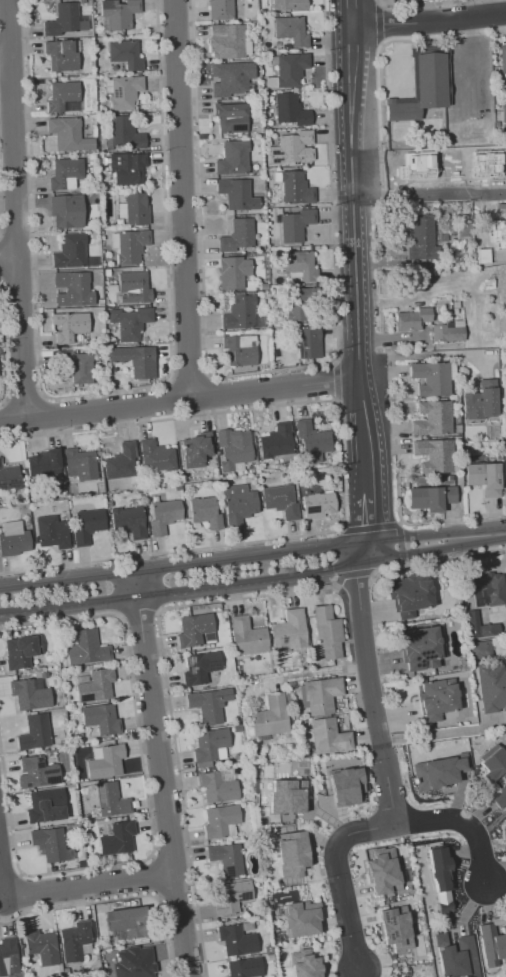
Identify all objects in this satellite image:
building: (288, 4)
building: (221, 9)
building: (120, 13)
building: (65, 20)
road: (434, 26)
building: (292, 30)
road: (13, 32)
building: (226, 41)
building: (125, 54)
building: (61, 55)
building: (502, 61)
road: (6, 66)
building: (291, 68)
building: (231, 77)
building: (430, 80)
road: (14, 91)
building: (125, 92)
building: (62, 95)
building: (291, 109)
building: (403, 111)
building: (503, 116)
building: (232, 117)
building: (69, 134)
building: (125, 134)
building: (293, 148)
building: (233, 158)
building: (484, 162)
building: (418, 166)
building: (128, 167)
building: (66, 173)
building: (296, 188)
building: (237, 194)
road: (436, 194)
road: (187, 200)
building: (136, 209)
building: (62, 210)
road: (14, 211)
building: (295, 225)
road: (16, 228)
building: (495, 231)
building: (238, 235)
building: (421, 236)
road: (367, 243)
building: (131, 246)
building: (71, 251)
road: (7, 258)
building: (301, 265)
building: (233, 271)
road: (17, 281)
building: (72, 288)
building: (133, 288)
building: (299, 304)
building: (239, 314)
building: (413, 319)
building: (130, 322)
building: (68, 325)
building: (447, 333)
building: (308, 342)
road: (3, 344)
building: (240, 350)
road: (436, 354)
building: (135, 360)
building: (76, 365)
road: (265, 371)
road: (191, 375)
building: (432, 378)
road: (98, 392)
road: (25, 399)
road: (184, 402)
building: (480, 403)
road: (46, 415)
road: (6, 419)
building: (434, 419)
building: (277, 442)
building: (311, 442)
building: (232, 449)
building: (196, 450)
building: (435, 455)
building: (156, 457)
building: (123, 462)
building: (44, 464)
building: (80, 464)
road: (342, 467)
building: (484, 478)
building: (9, 479)
building: (431, 498)
building: (281, 501)
building: (317, 505)
building: (240, 508)
building: (205, 512)
road: (371, 515)
building: (164, 516)
road: (451, 518)
building: (129, 521)
road: (388, 524)
building: (86, 525)
building: (53, 532)
building: (14, 542)
road: (252, 557)
road: (438, 557)
road: (351, 574)
road: (254, 579)
building: (490, 586)
building: (409, 595)
road: (246, 596)
road: (139, 613)
building: (479, 626)
building: (194, 629)
building: (290, 630)
building: (328, 632)
building: (247, 636)
building: (421, 646)
building: (87, 648)
building: (479, 649)
building: (21, 651)
building: (200, 667)
road: (372, 679)
building: (95, 685)
building: (492, 688)
building: (29, 694)
building: (321, 694)
building: (436, 699)
building: (208, 704)
building: (271, 716)
building: (101, 719)
building: (35, 733)
building: (327, 736)
building: (210, 744)
building: (106, 762)
building: (494, 763)
building: (437, 771)
building: (37, 773)
road: (163, 774)
building: (345, 778)
building: (216, 787)
building: (499, 795)
building: (284, 798)
building: (111, 800)
road: (146, 803)
building: (46, 805)
road: (458, 819)
building: (220, 820)
building: (118, 838)
building: (51, 843)
building: (291, 854)
building: (226, 859)
building: (382, 870)
road: (340, 877)
building: (440, 879)
road: (2, 880)
road: (91, 885)
building: (232, 897)
building: (300, 918)
building: (129, 922)
building: (395, 929)
building: (76, 940)
building: (237, 940)
building: (491, 943)
building: (42, 946)
building: (498, 947)
building: (6, 954)
building: (455, 956)
building: (135, 964)
building: (304, 964)
building: (245, 967)

